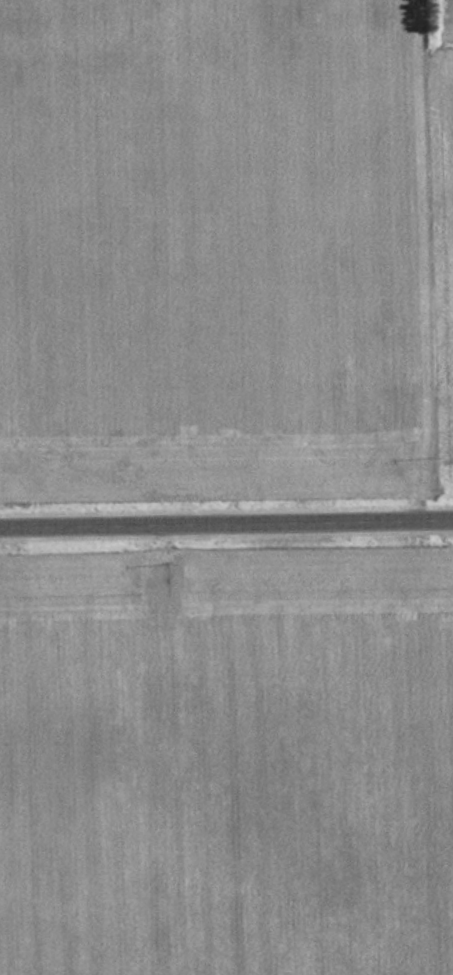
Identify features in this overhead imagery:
road: (226, 525)

